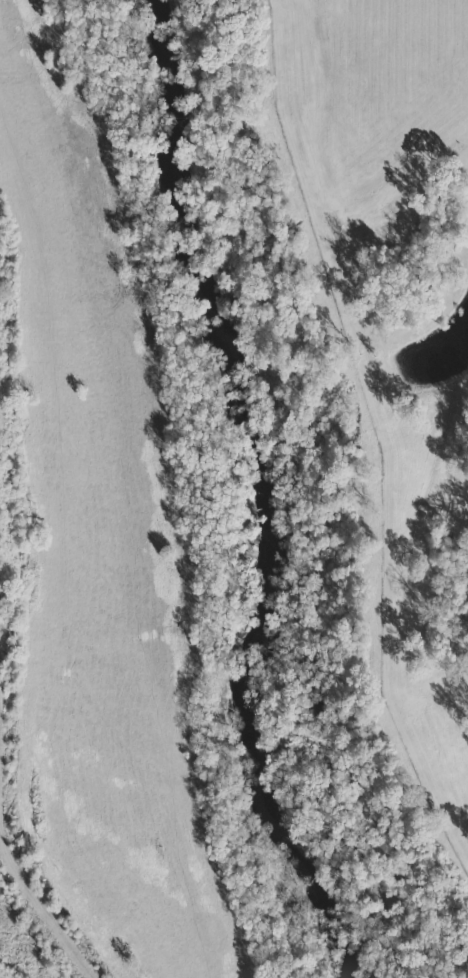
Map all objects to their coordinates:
river: (258, 491)

